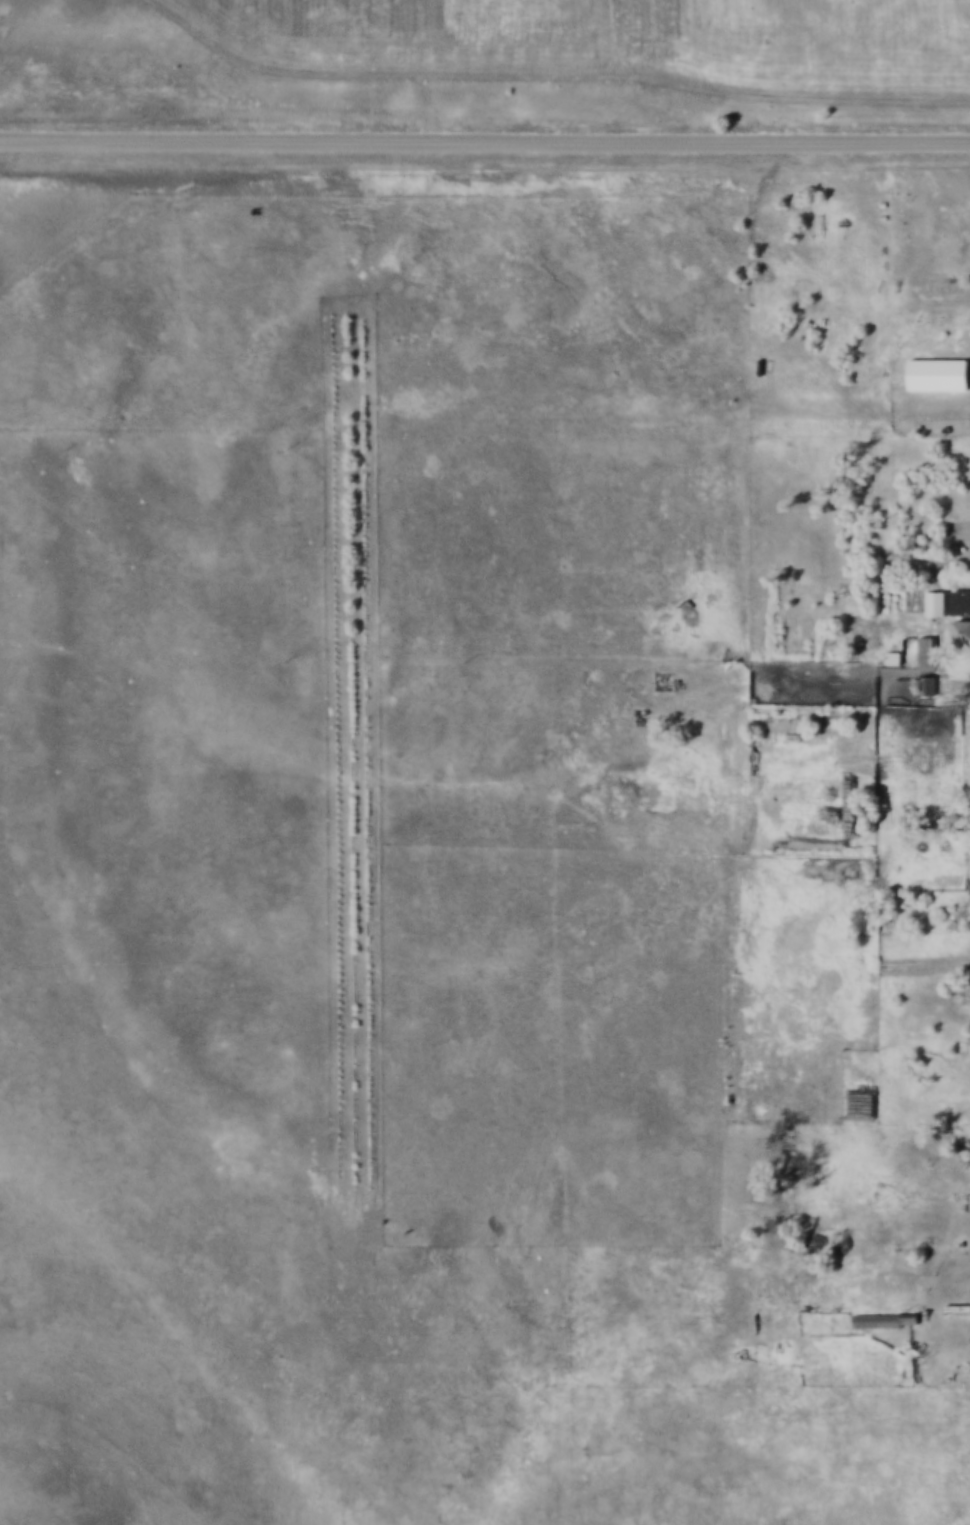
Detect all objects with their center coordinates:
road: (484, 137)
building: (939, 371)
building: (961, 599)
building: (937, 600)
building: (961, 627)
building: (926, 648)
building: (893, 654)
building: (927, 682)
road: (766, 1286)
building: (958, 1304)
building: (885, 1316)

